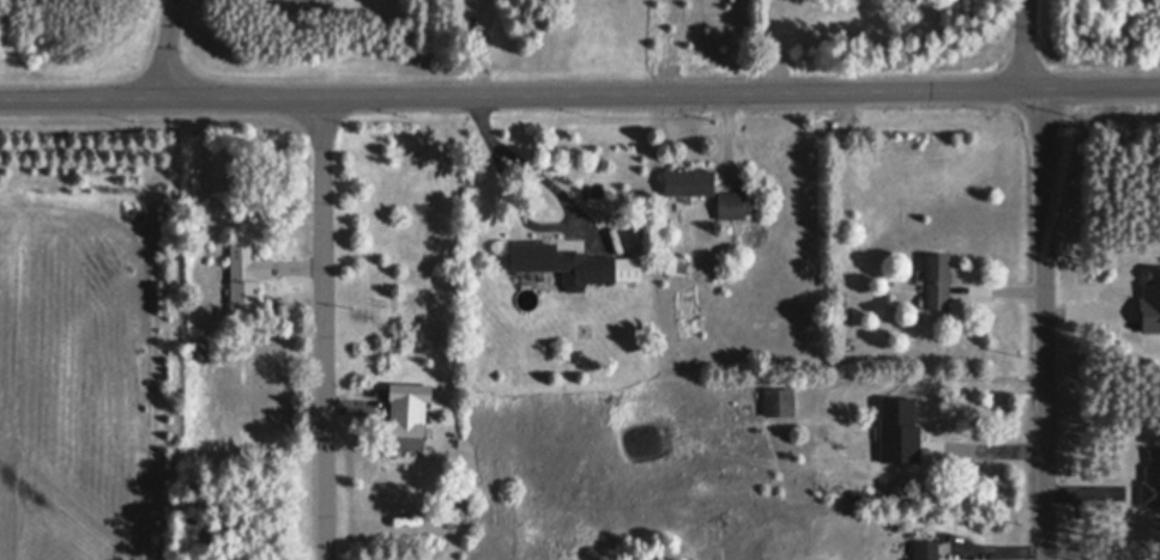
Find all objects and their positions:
road: (1023, 45)
road: (170, 49)
road: (580, 96)
building: (690, 182)
building: (732, 203)
building: (576, 262)
building: (677, 268)
building: (247, 274)
building: (938, 279)
building: (835, 285)
building: (1150, 298)
road: (1043, 325)
road: (326, 329)
building: (198, 349)
building: (781, 400)
building: (409, 413)
building: (896, 431)
building: (918, 433)
building: (1152, 479)
building: (457, 495)
building: (859, 495)
building: (928, 549)

